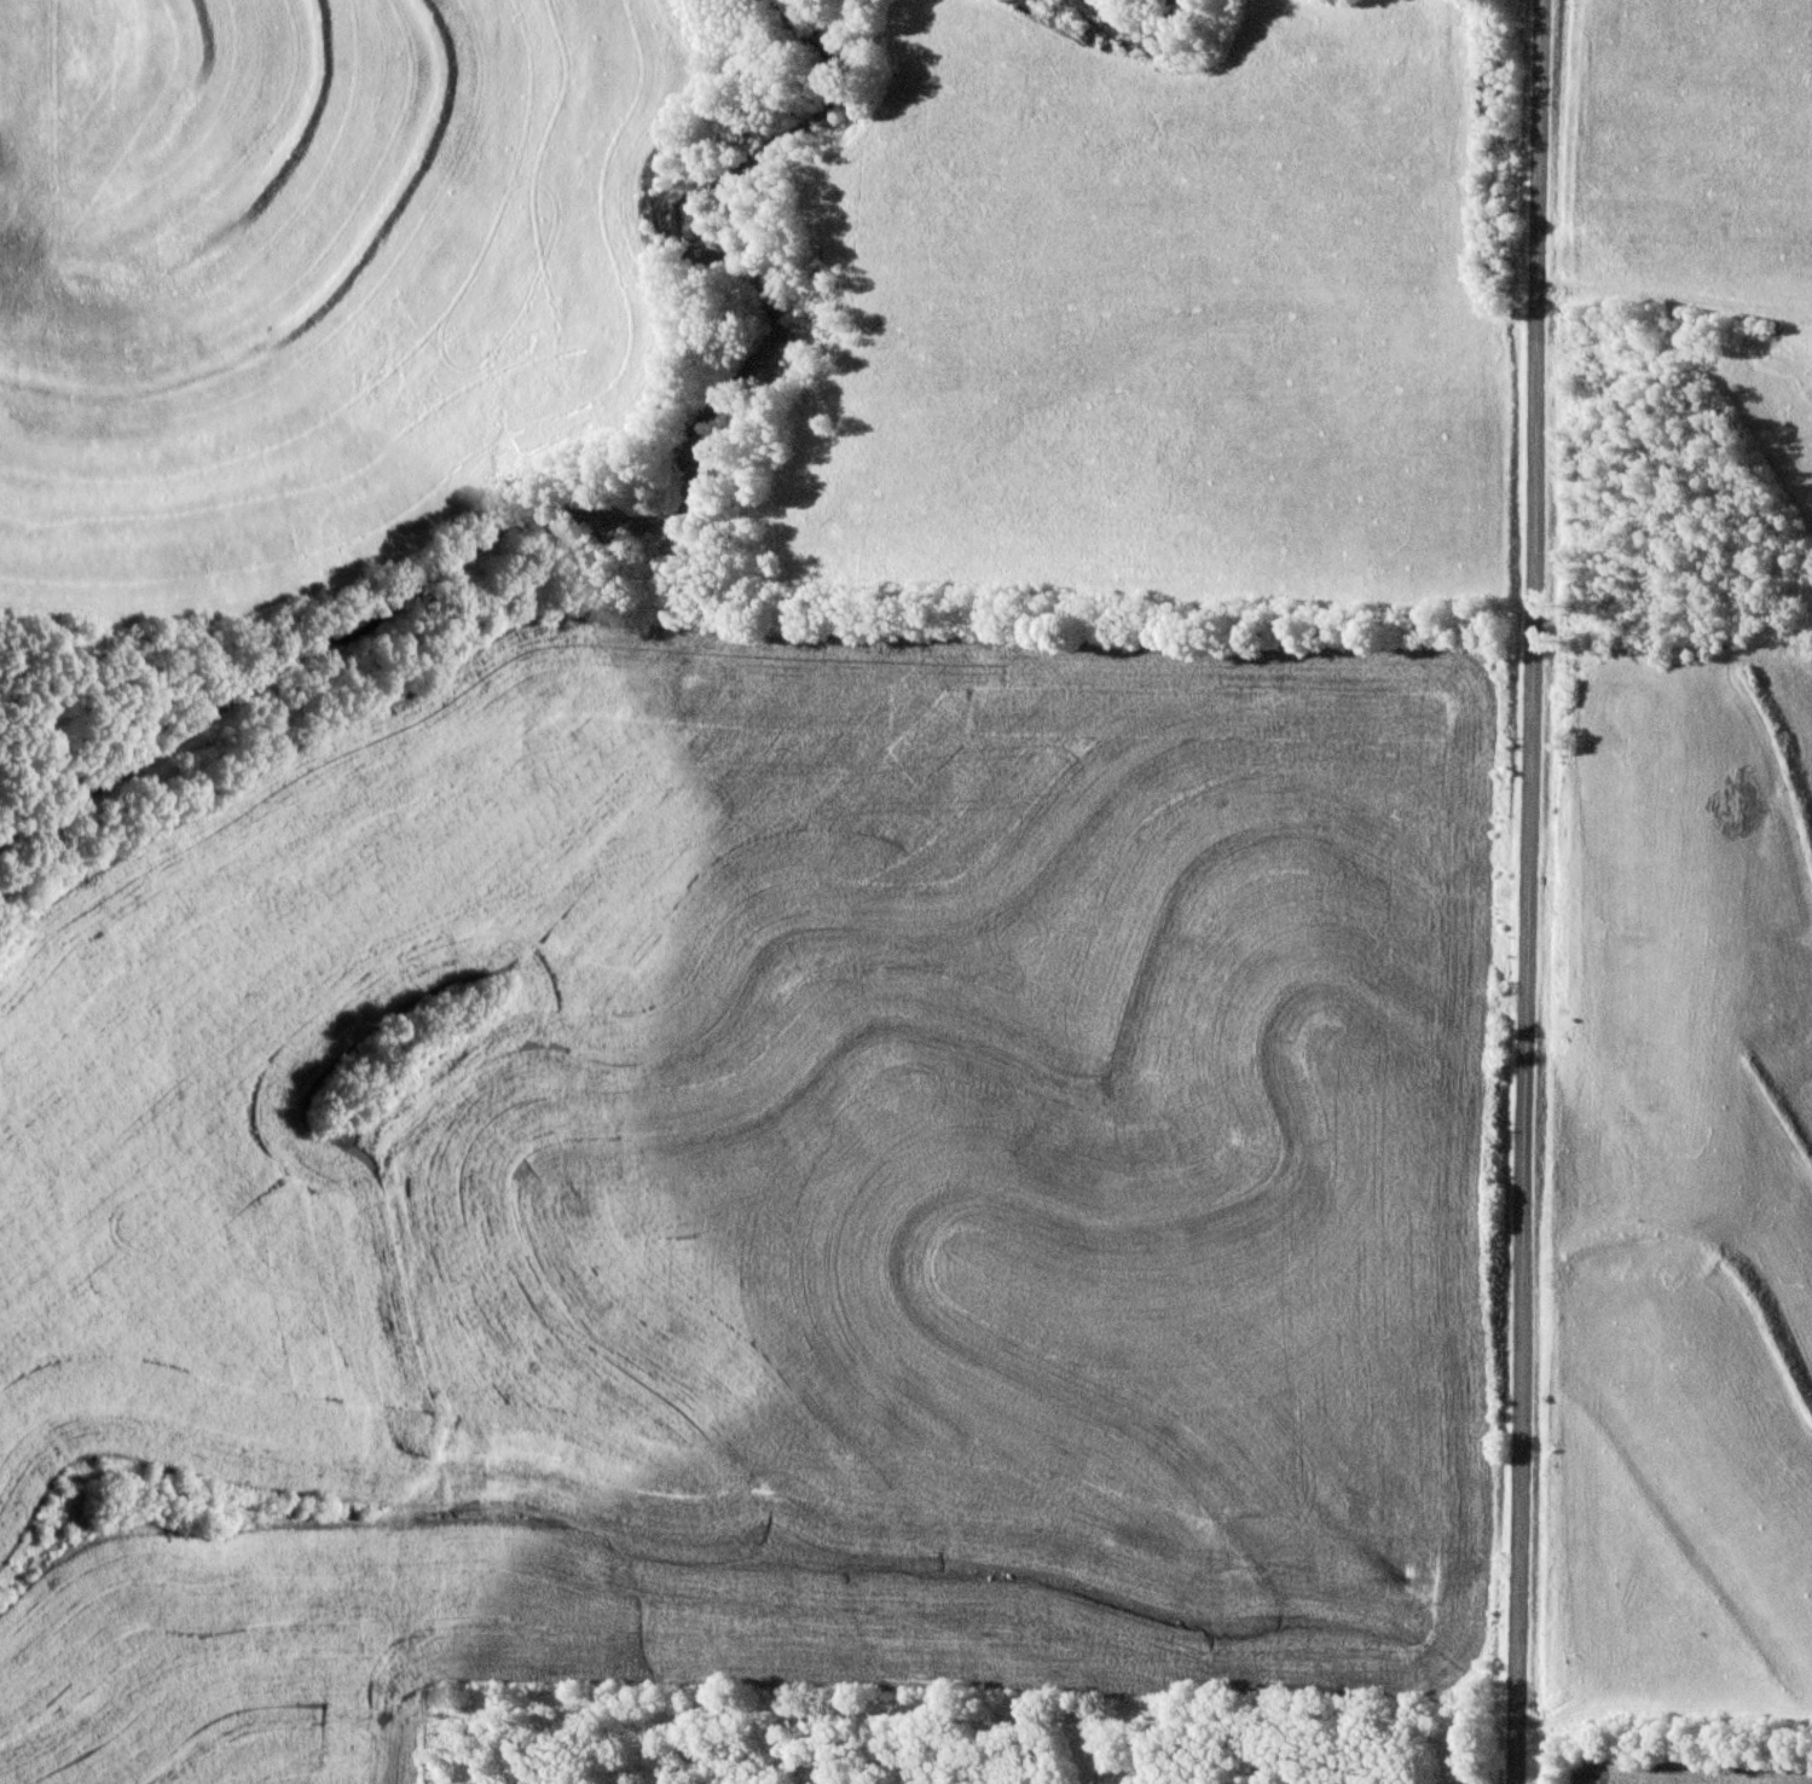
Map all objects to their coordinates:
road: (1519, 891)

